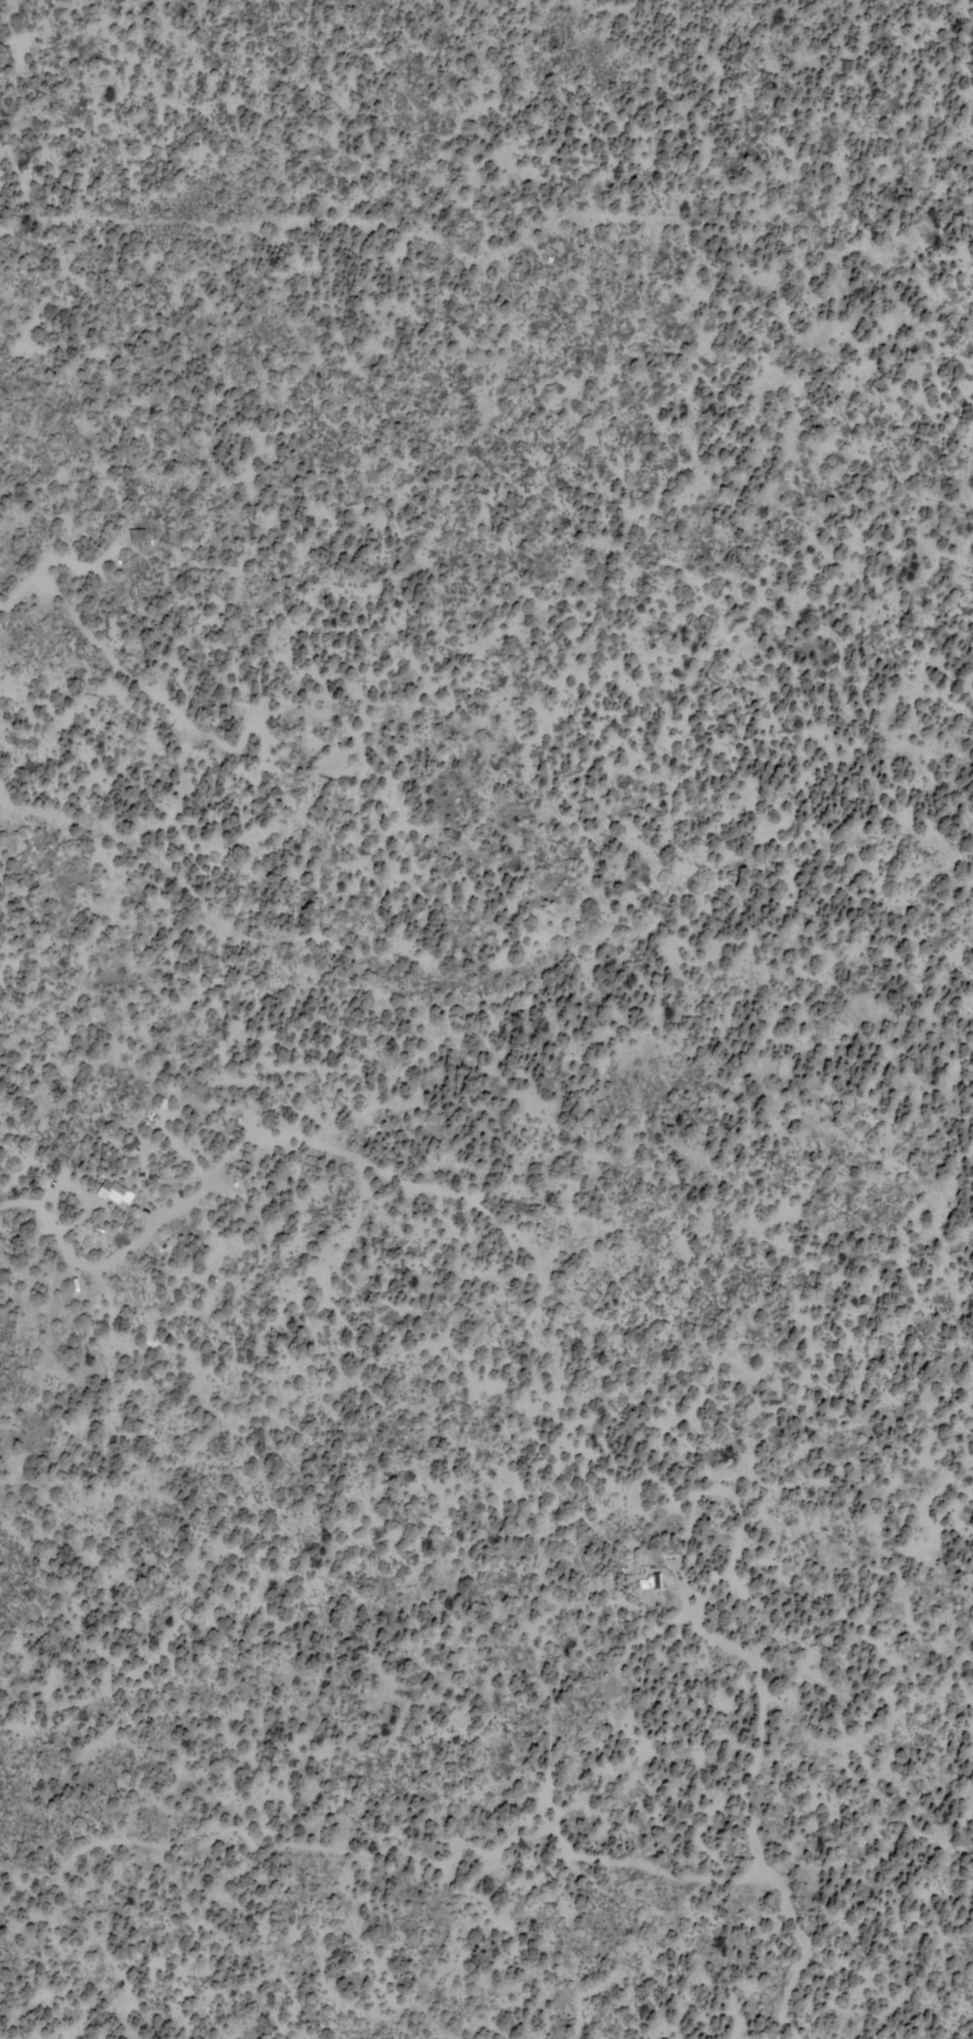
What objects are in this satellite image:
building: (135, 533)
building: (113, 1191)

